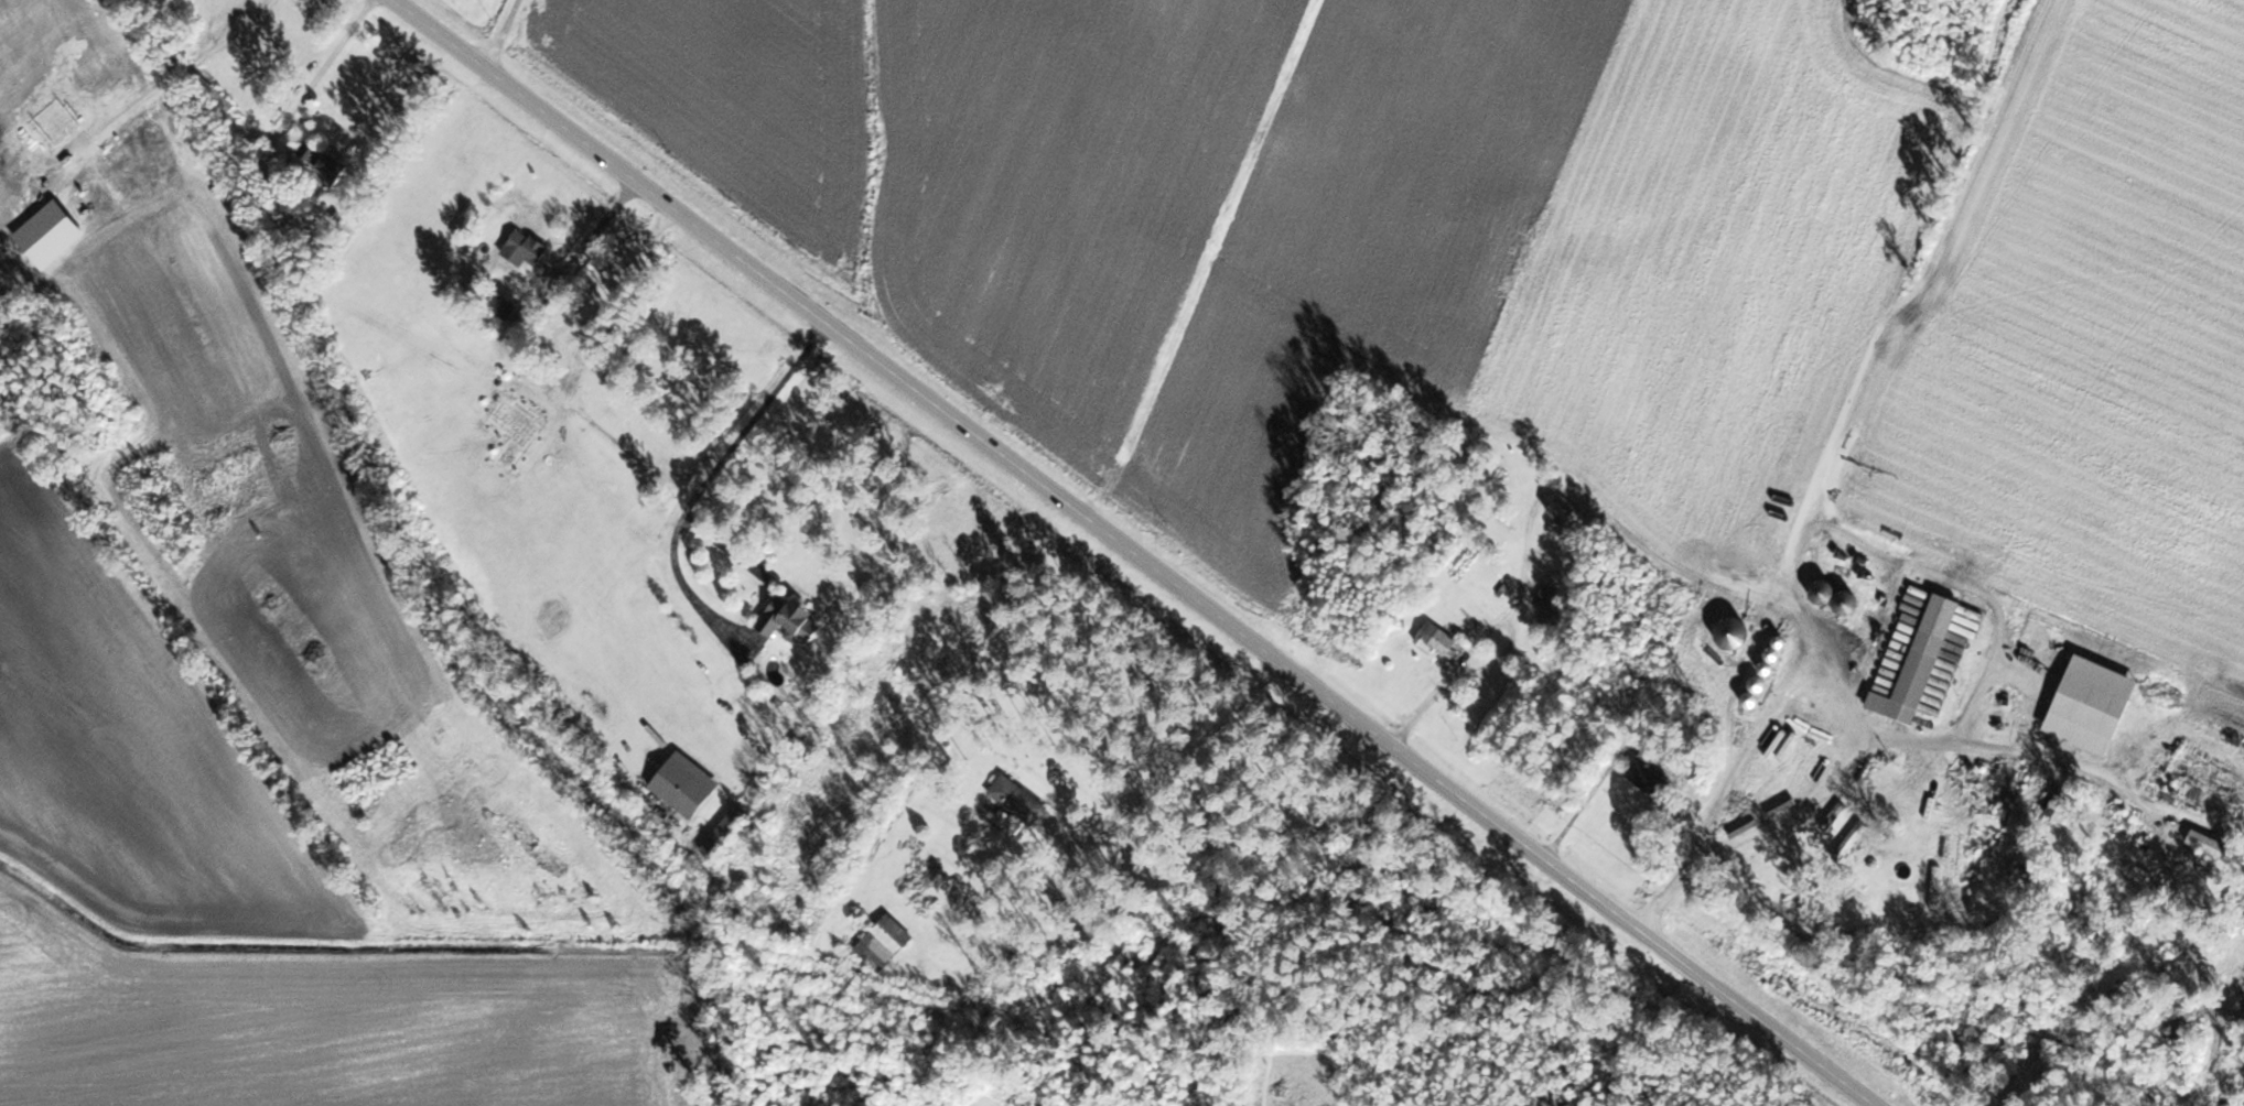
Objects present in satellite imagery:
building: (214, 90)
building: (242, 127)
building: (319, 161)
building: (524, 248)
building: (503, 305)
building: (522, 318)
road: (710, 477)
building: (1566, 512)
road: (1134, 553)
building: (1550, 595)
building: (1833, 595)
building: (788, 618)
building: (1439, 640)
building: (1909, 679)
building: (1752, 690)
building: (1647, 773)
building: (683, 782)
building: (1016, 801)
building: (2051, 803)
building: (1833, 814)
building: (724, 831)
building: (2200, 837)
building: (1849, 841)
building: (885, 939)

